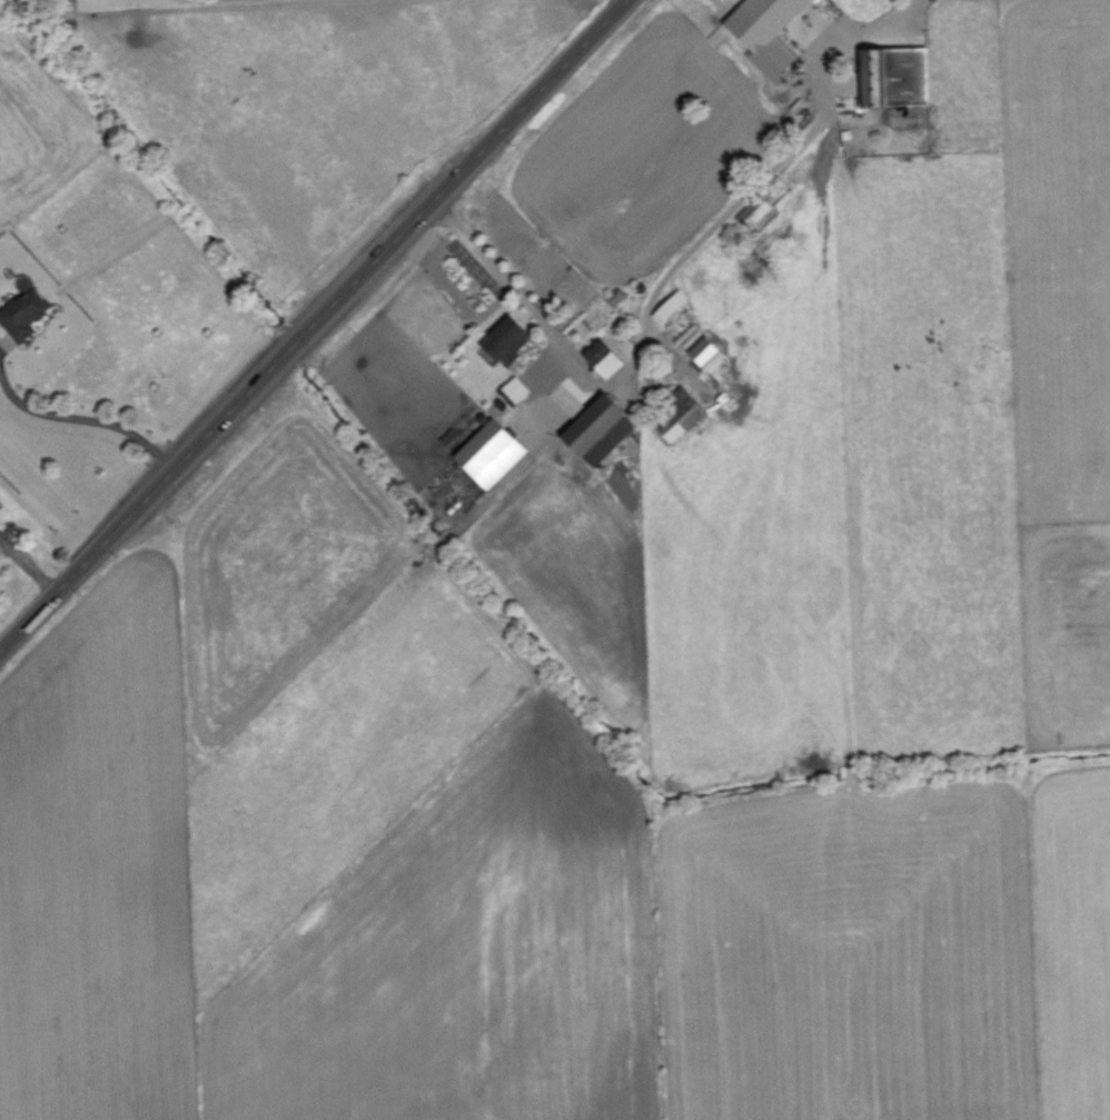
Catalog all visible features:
road: (207, 2)
building: (770, 32)
building: (900, 76)
building: (757, 211)
road: (662, 274)
building: (673, 306)
building: (26, 314)
road: (315, 328)
building: (512, 338)
building: (703, 345)
building: (604, 357)
building: (517, 389)
building: (684, 414)
building: (603, 428)
road: (87, 429)
building: (453, 437)
building: (495, 453)

